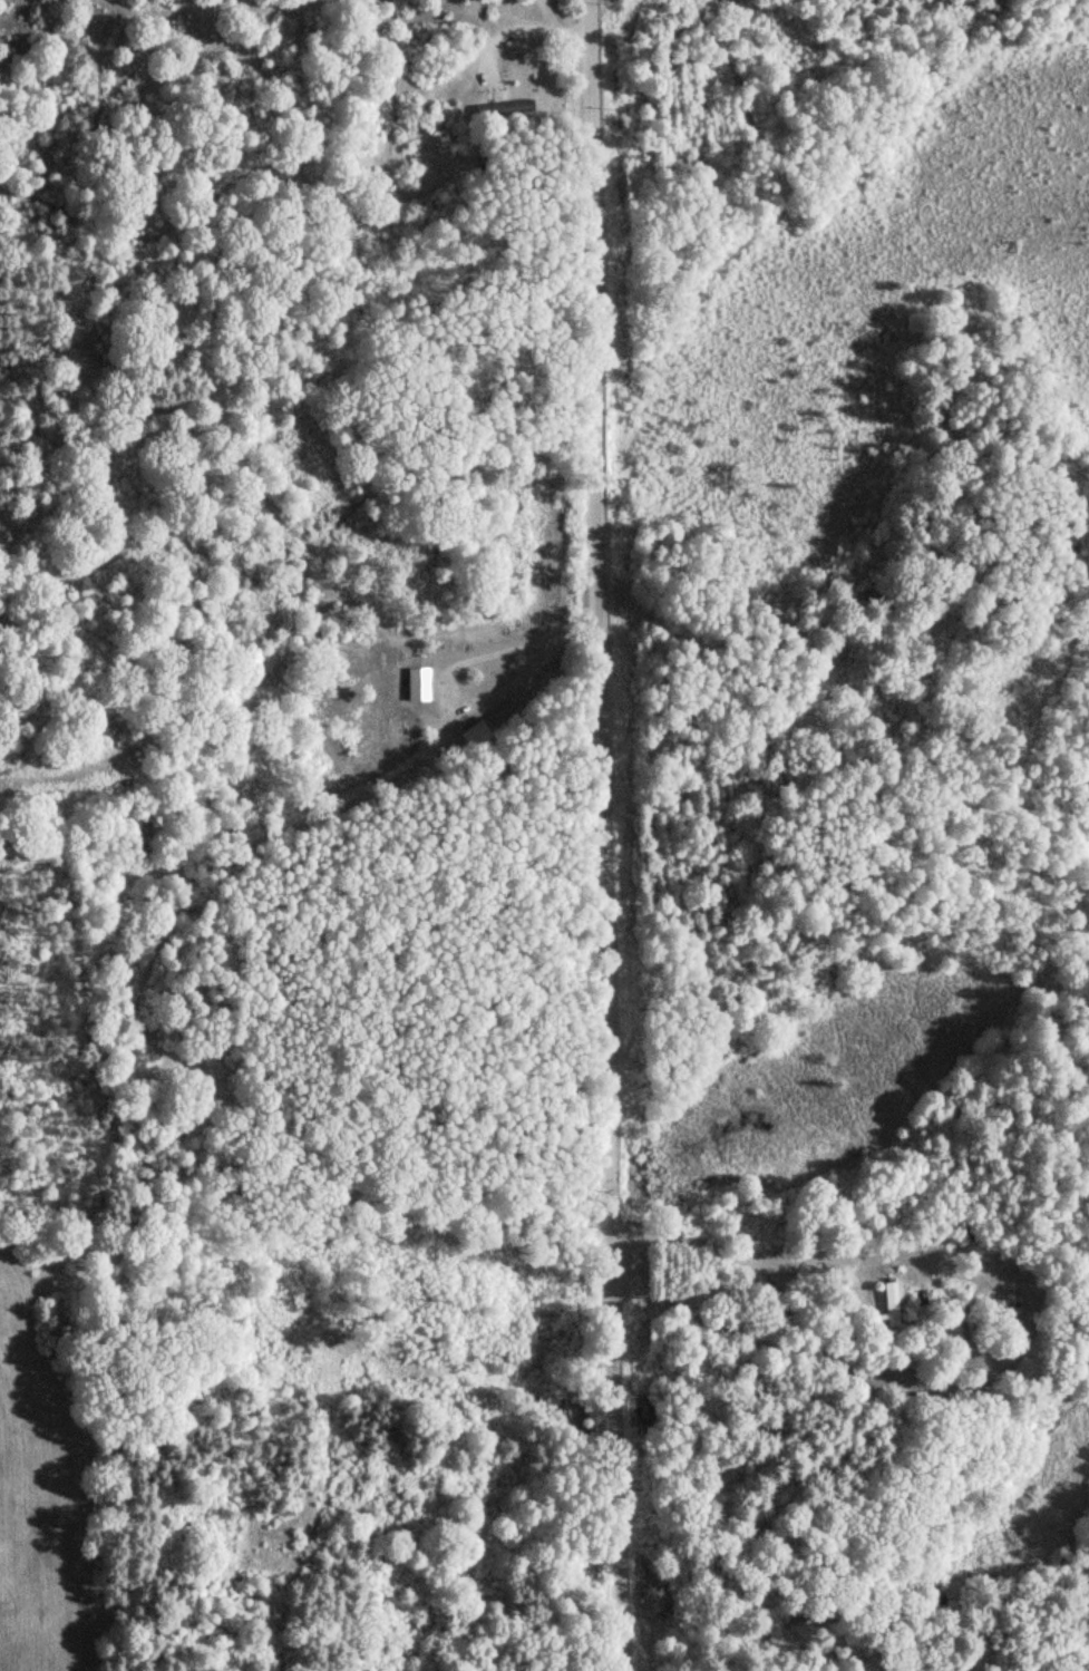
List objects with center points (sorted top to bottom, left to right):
building: (515, 109)
building: (477, 736)
road: (603, 835)
building: (889, 1304)

